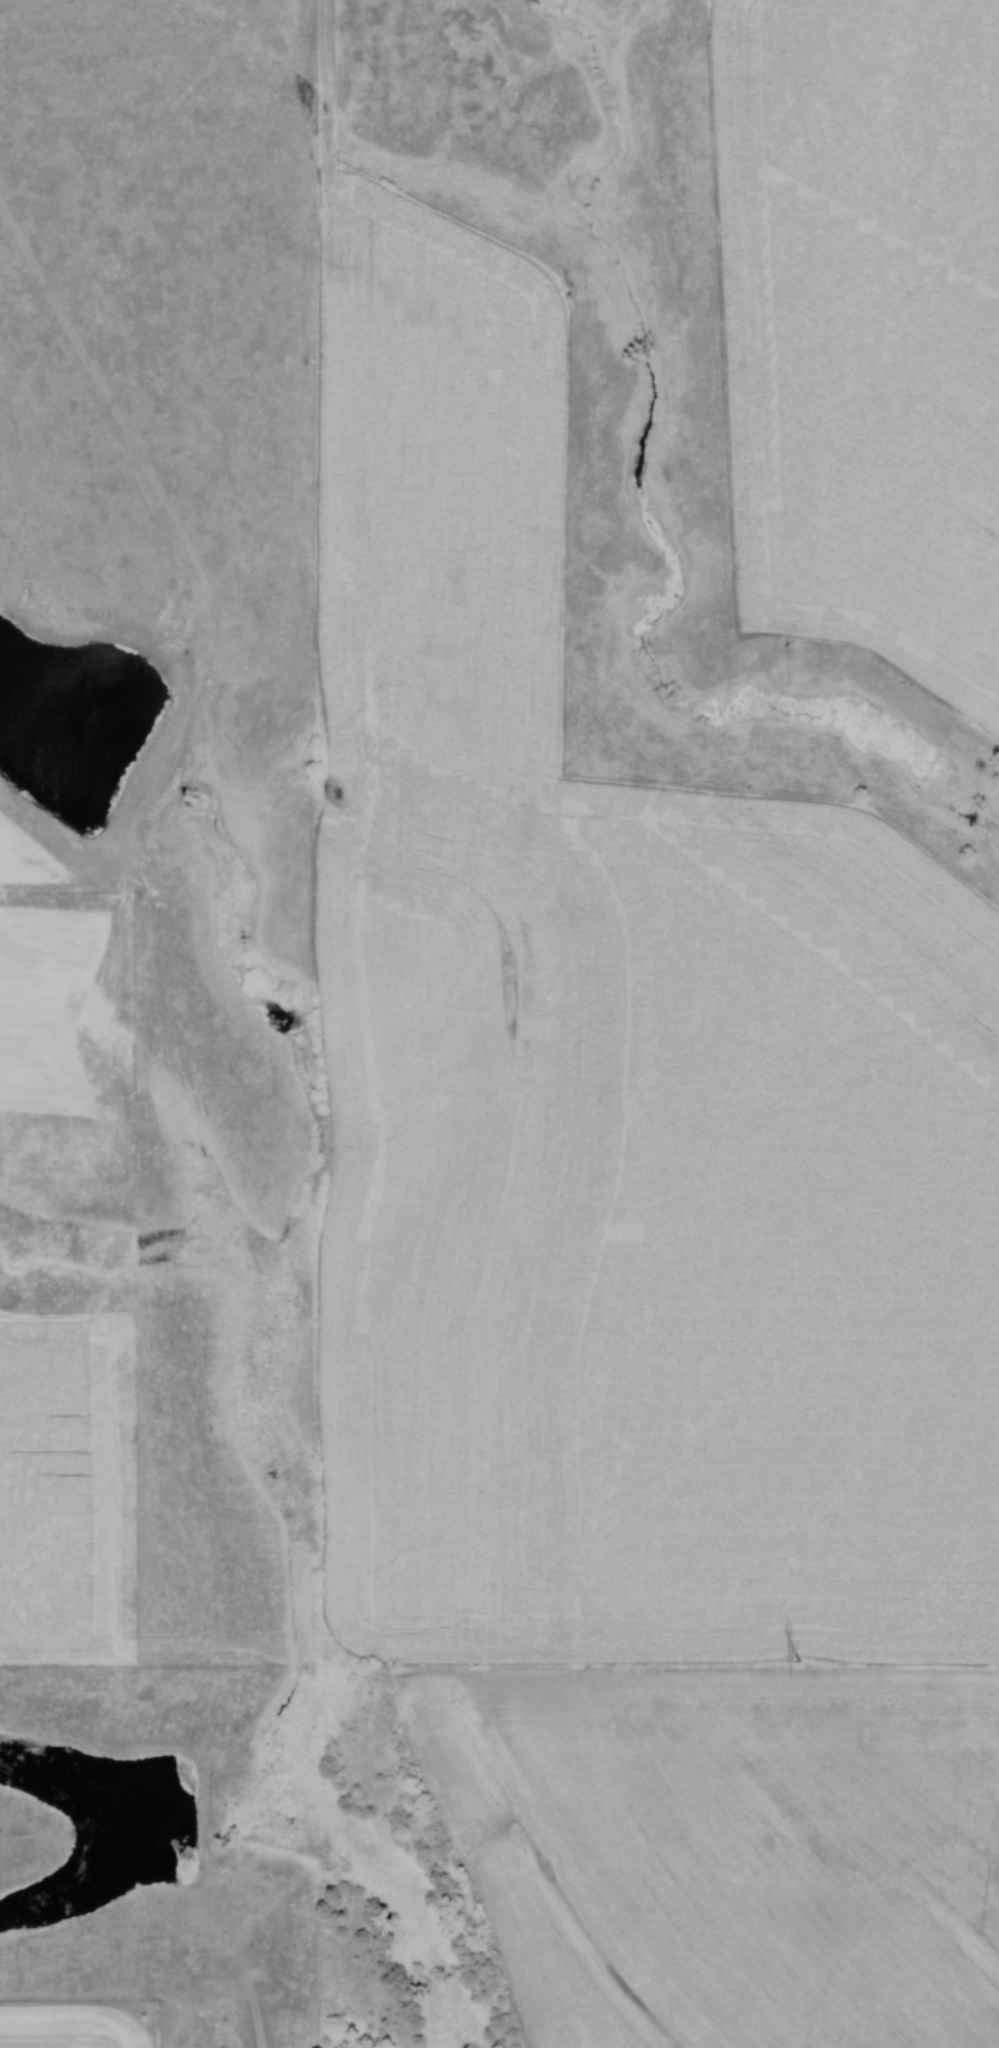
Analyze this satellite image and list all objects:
power tower: (796, 1661)

